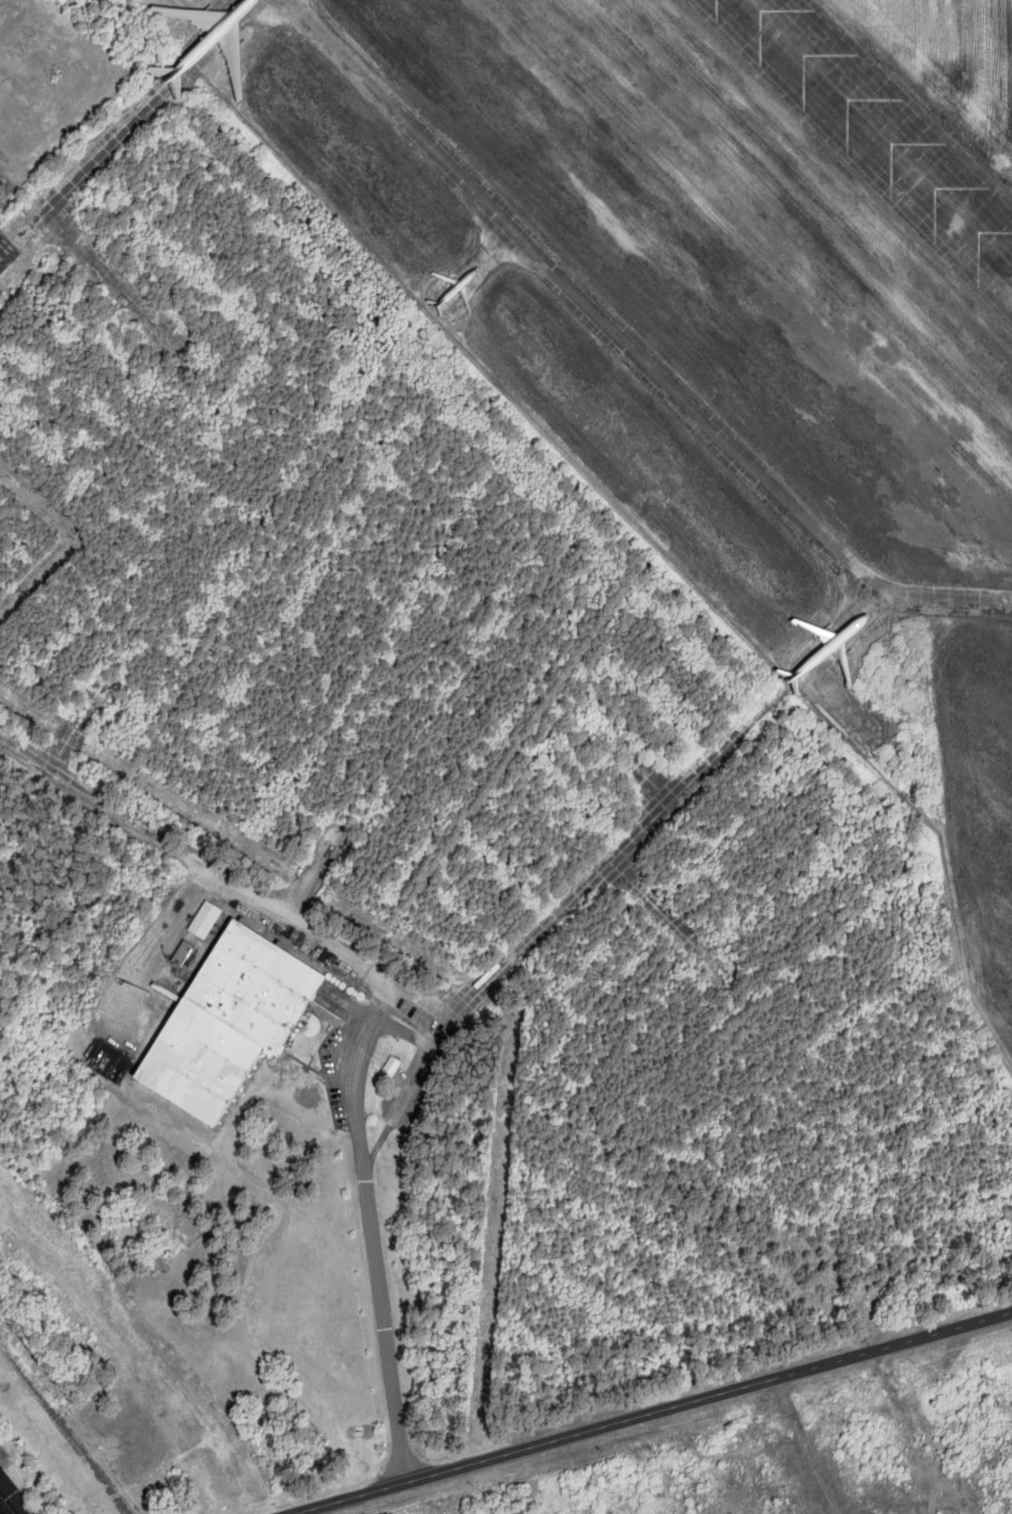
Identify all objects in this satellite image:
airport taxiway: (874, 135)
building: (7, 253)
airport taxiway: (627, 345)
building: (230, 1023)
road: (653, 1413)
road: (14, 1494)
parking lot: (13, 1497)

